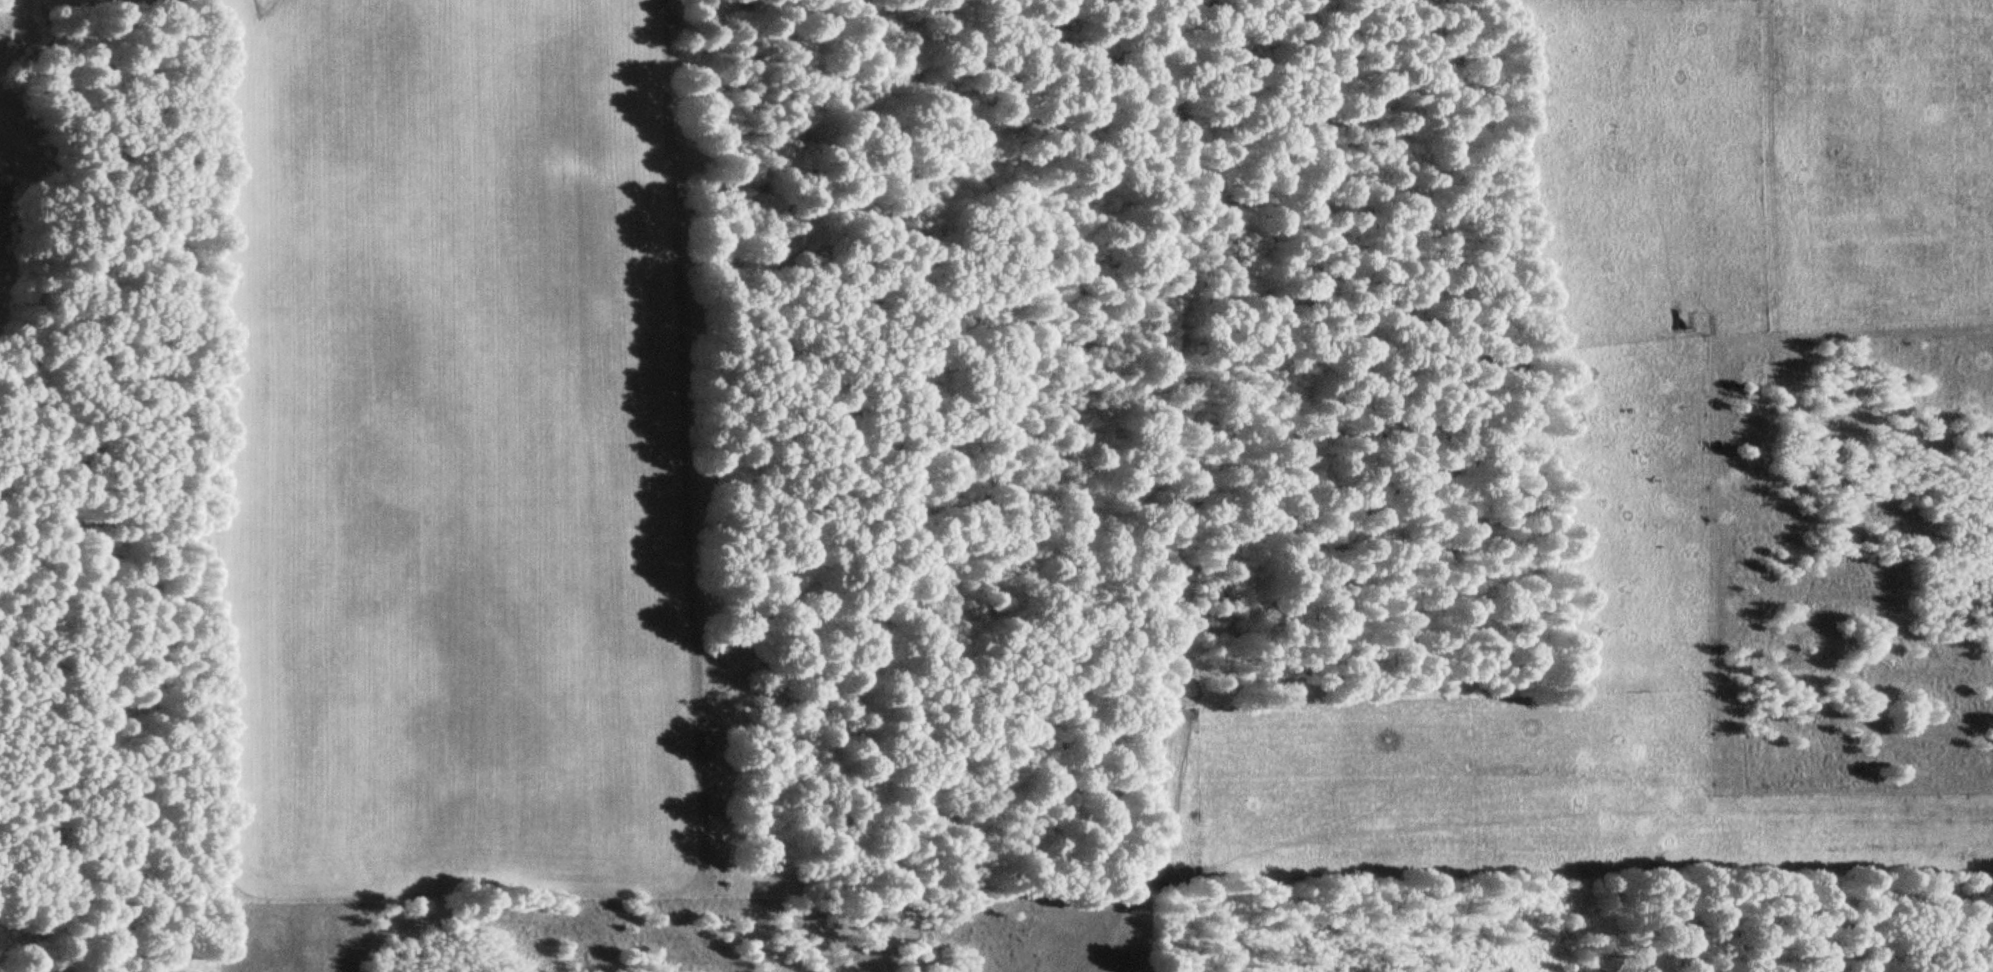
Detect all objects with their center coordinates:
crop: (453, 452)

